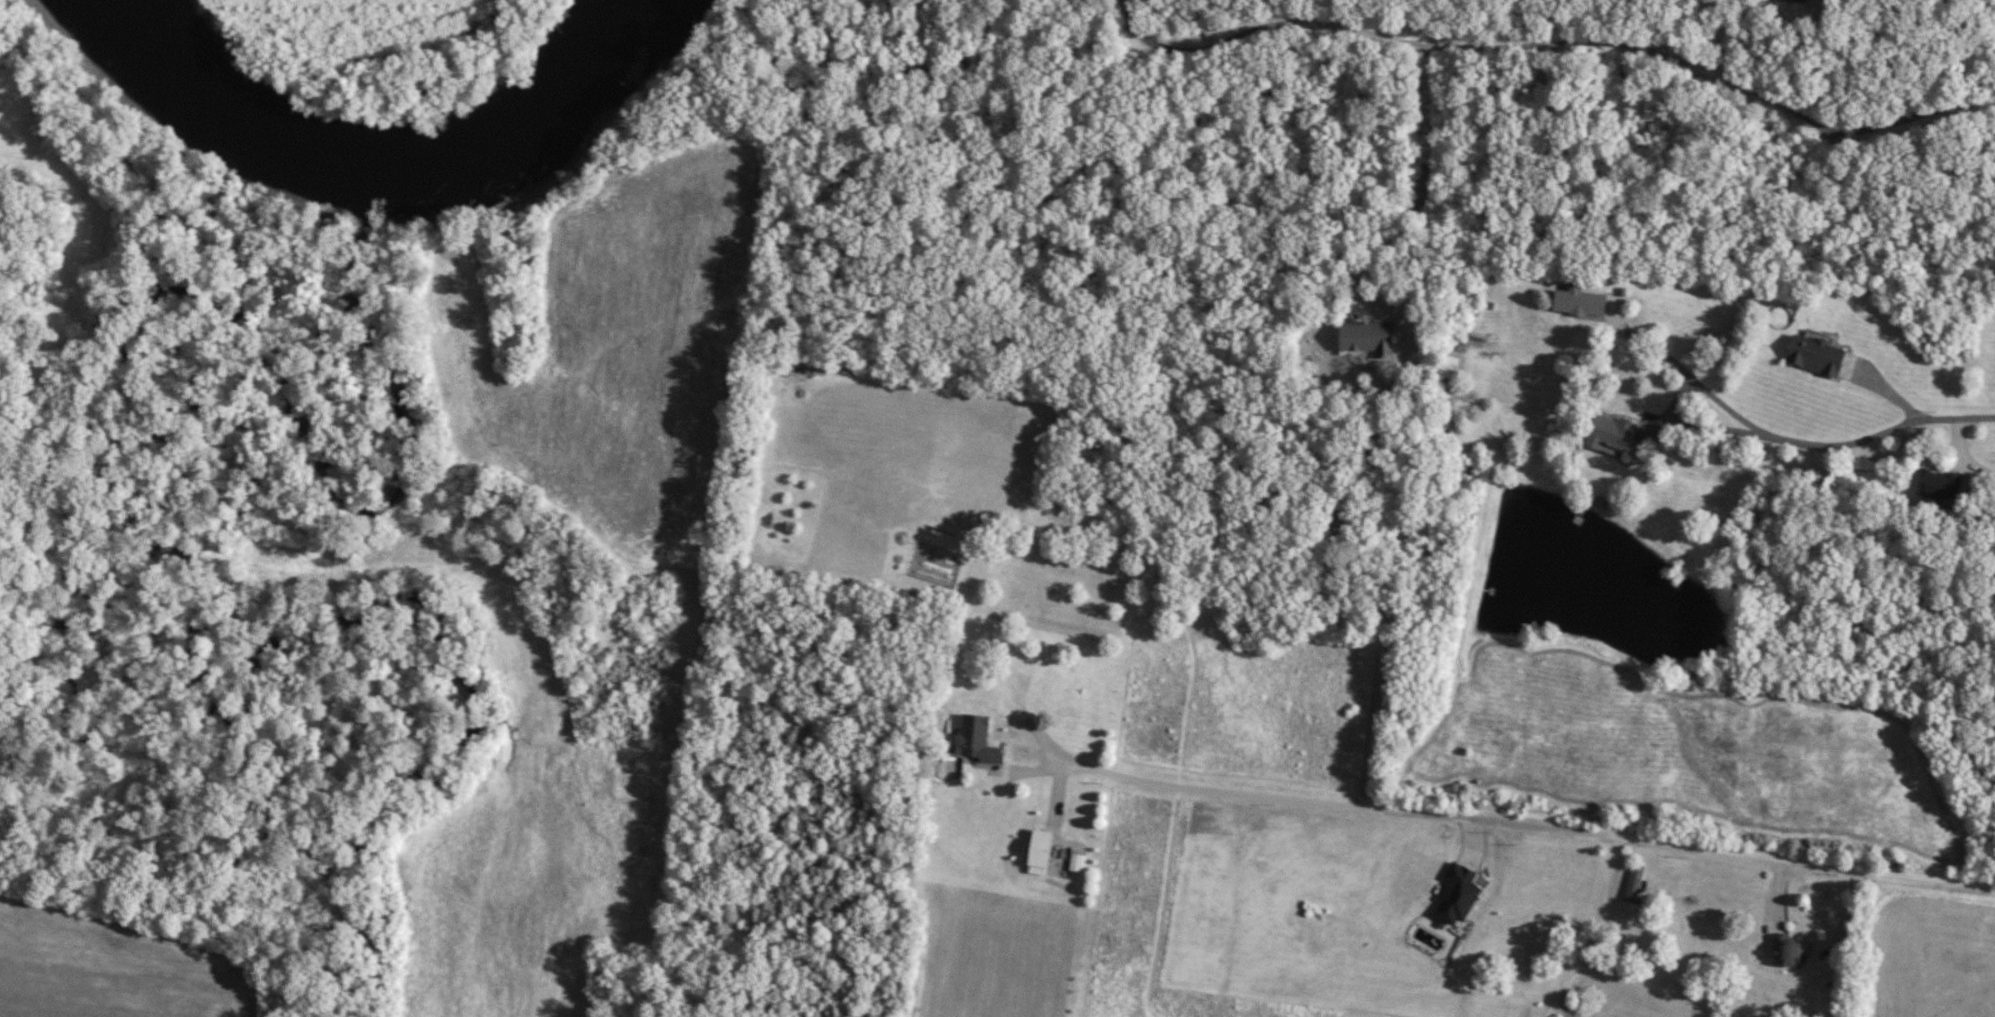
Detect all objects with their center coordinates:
building: (1792, 0)
road: (1426, 22)
road: (1714, 41)
road: (1570, 44)
river: (372, 167)
building: (1580, 302)
building: (1368, 336)
building: (1817, 355)
building: (1449, 370)
building: (1612, 433)
road: (1800, 440)
building: (1940, 484)
road: (1361, 574)
building: (978, 738)
road: (1528, 825)
building: (1041, 847)
building: (1666, 878)
building: (1635, 882)
road: (1844, 918)
road: (1590, 931)
building: (1791, 953)
road: (1561, 1005)

